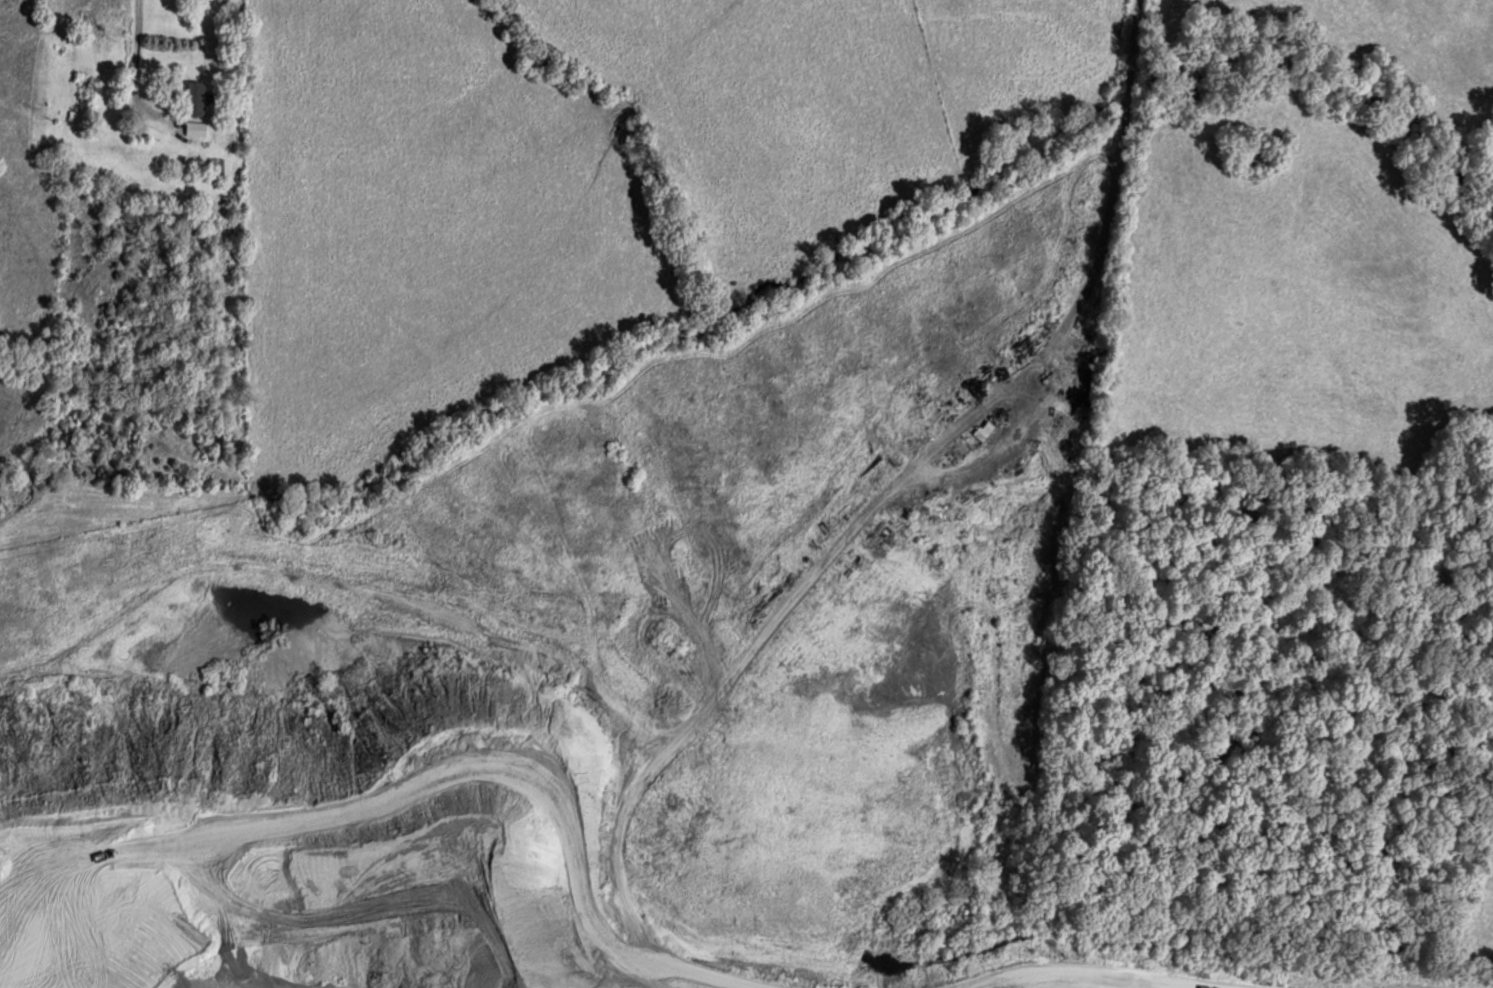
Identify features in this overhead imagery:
road: (150, 36)
building: (88, 90)
building: (195, 99)

